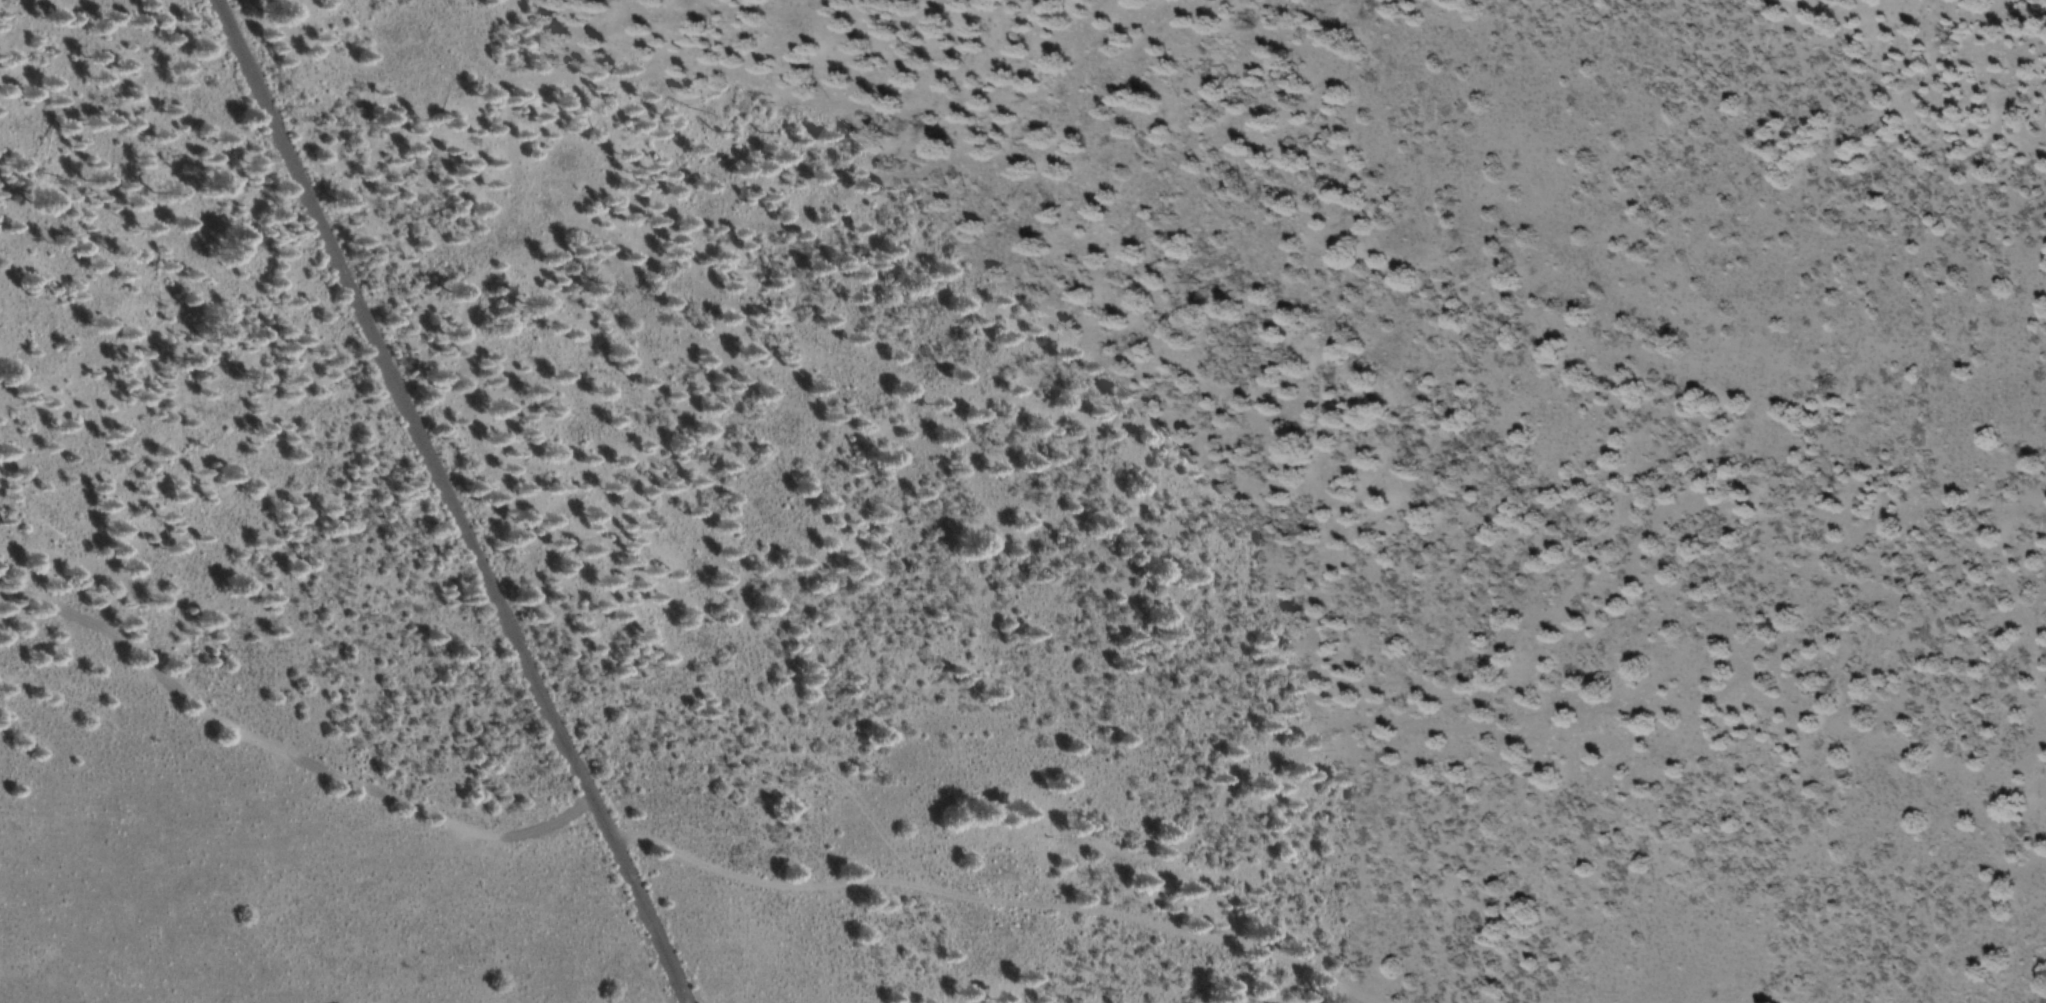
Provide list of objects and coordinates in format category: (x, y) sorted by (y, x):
road: (451, 502)
road: (995, 903)

